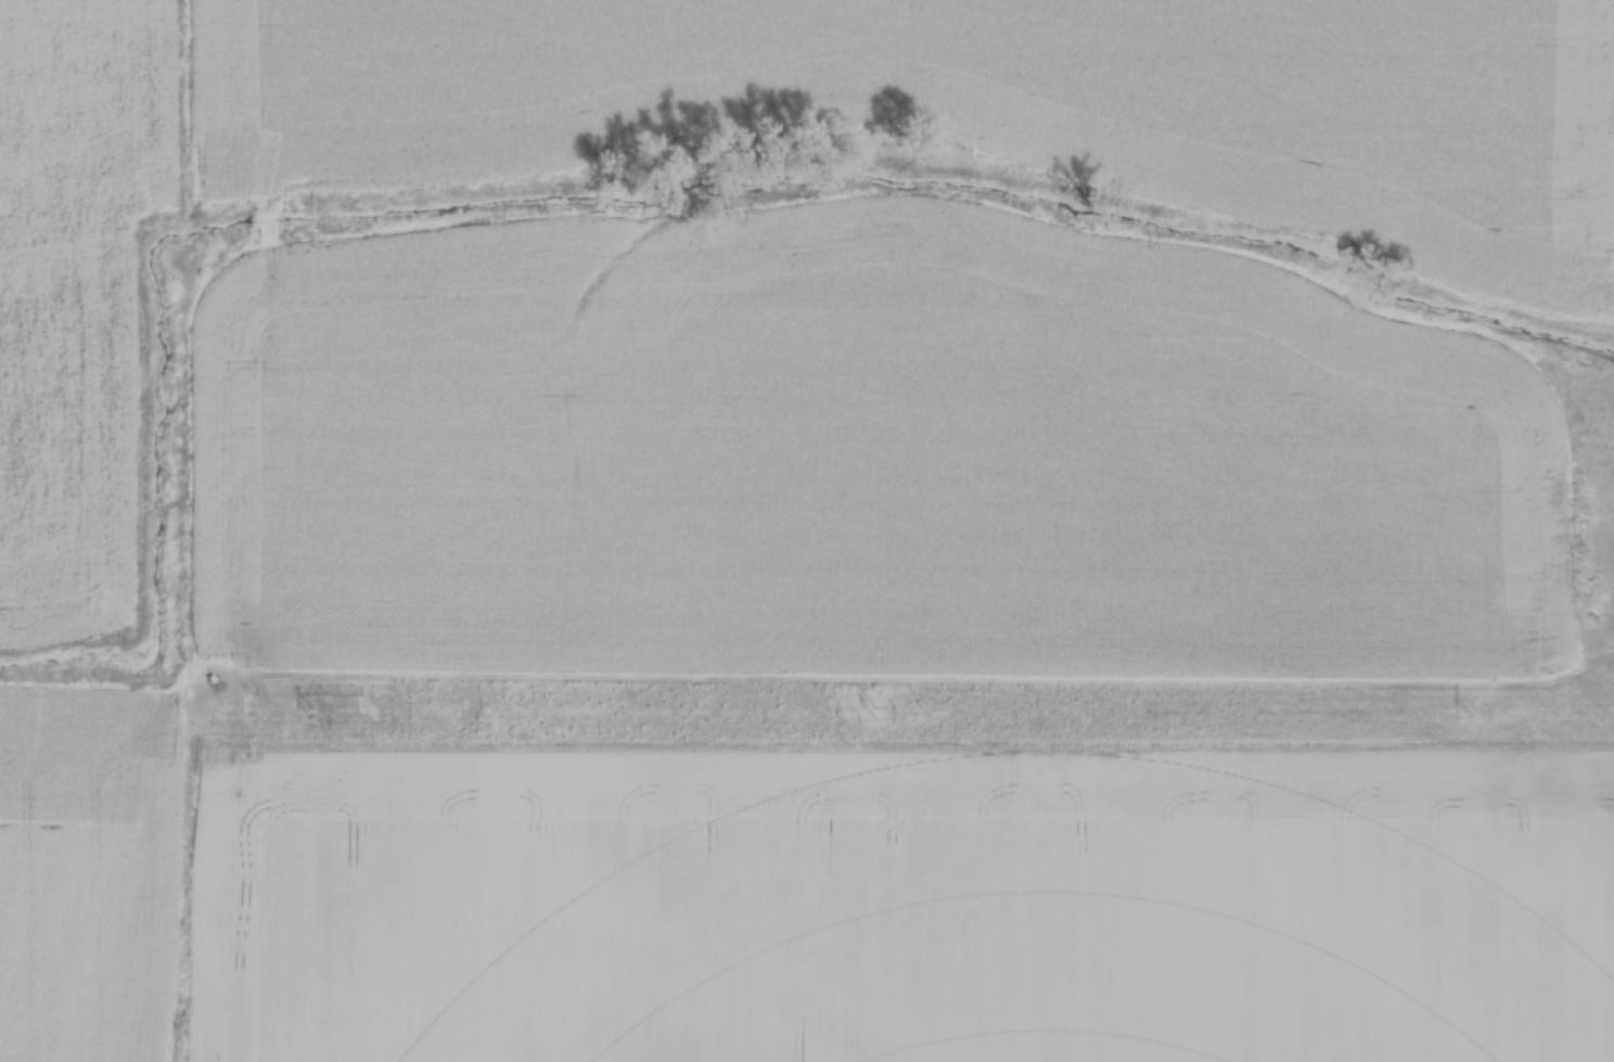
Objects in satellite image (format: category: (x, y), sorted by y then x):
power tower: (1473, 708)
power tower: (868, 711)
power tower: (309, 712)

